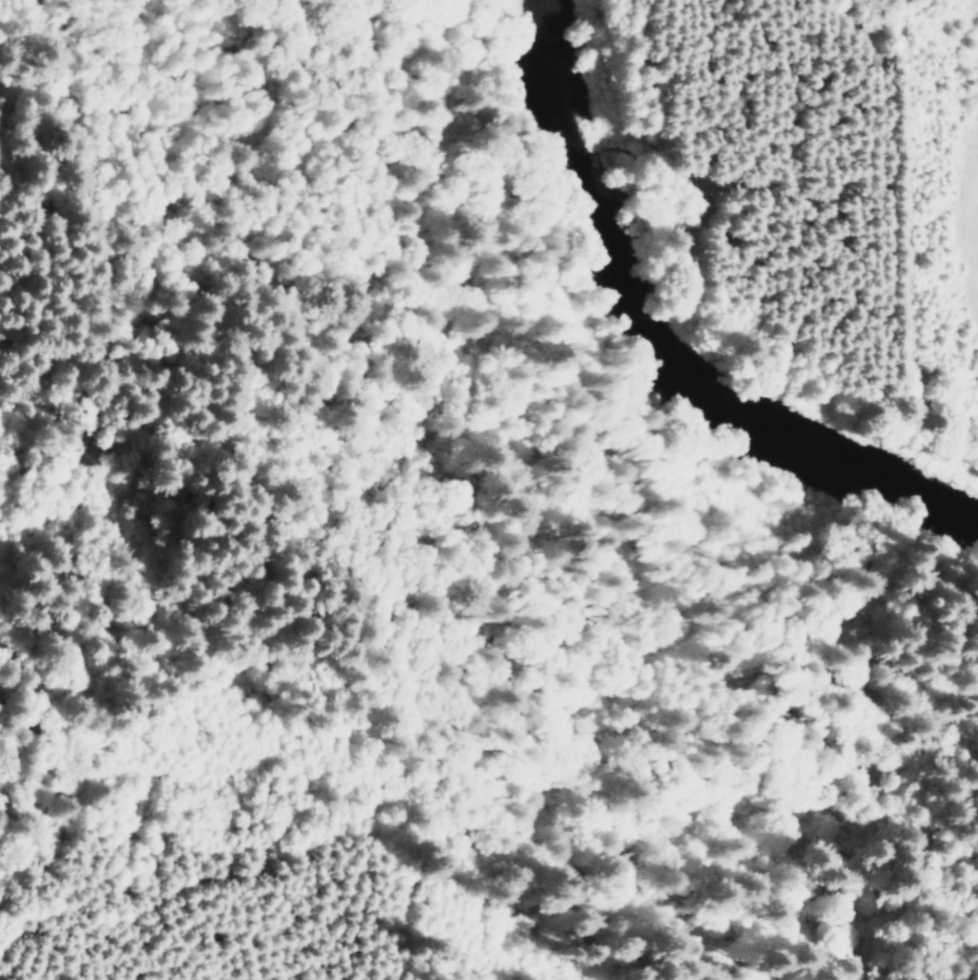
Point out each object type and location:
river: (669, 350)

